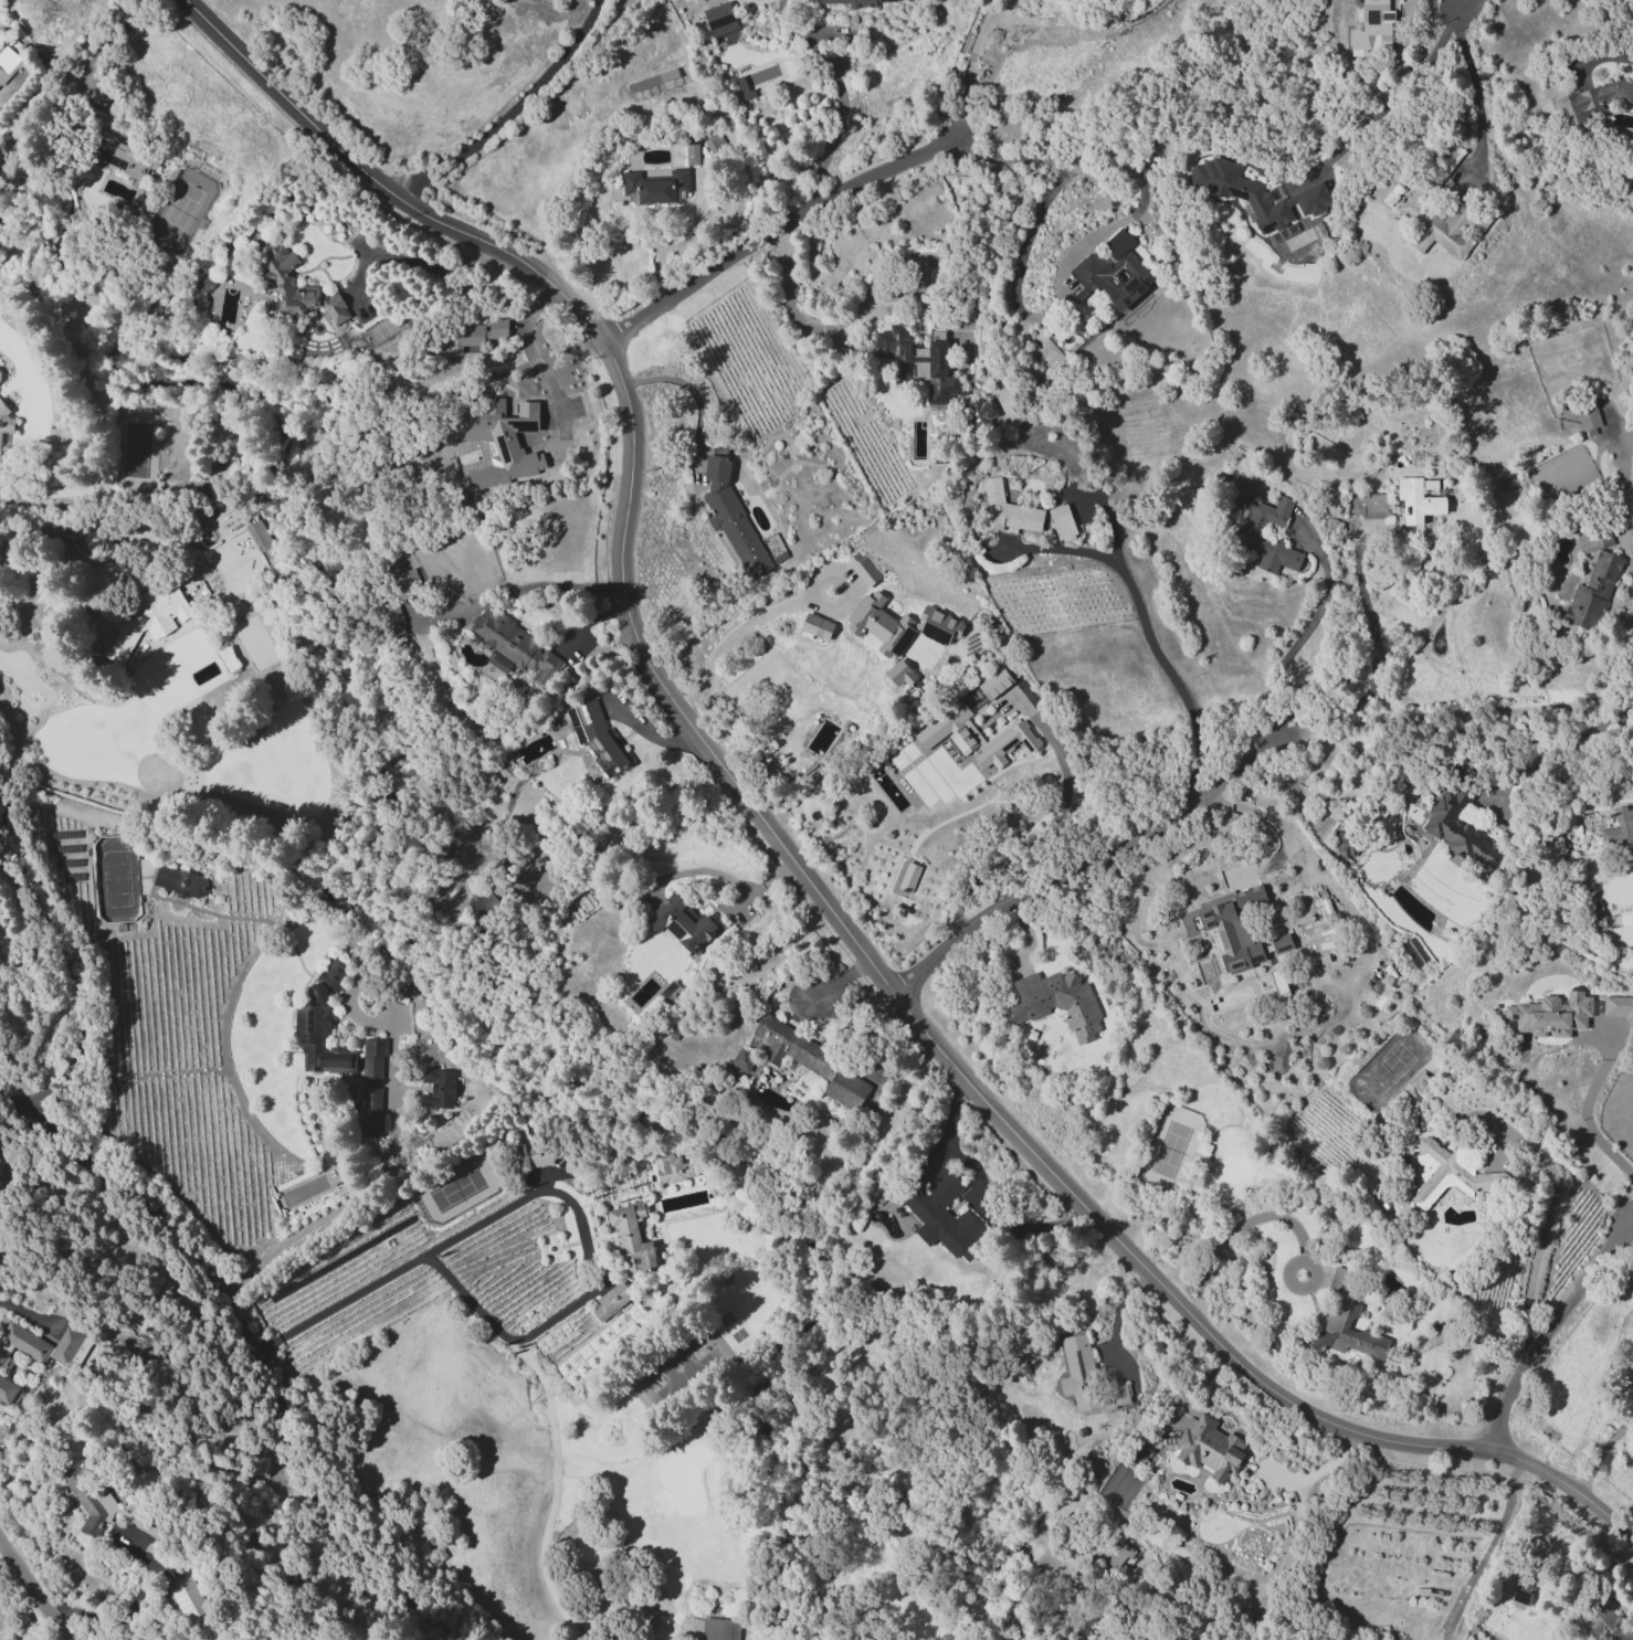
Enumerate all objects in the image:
building: (850, 2)
road: (1464, 4)
building: (724, 20)
building: (1376, 24)
road: (115, 35)
road: (1598, 56)
building: (8, 63)
road: (969, 65)
building: (651, 80)
road: (1394, 87)
building: (742, 88)
road: (1479, 89)
building: (1593, 99)
road: (843, 106)
road: (509, 110)
building: (118, 146)
building: (11, 170)
building: (655, 187)
building: (1255, 193)
building: (1440, 223)
road: (773, 231)
road: (1086, 236)
road: (401, 260)
building: (1112, 273)
building: (285, 286)
road: (853, 321)
building: (476, 334)
building: (919, 361)
road: (537, 379)
road: (694, 393)
building: (979, 412)
building: (1587, 415)
building: (4, 420)
building: (498, 436)
building: (0, 479)
building: (1416, 500)
building: (1372, 506)
road: (1622, 506)
building: (1010, 510)
building: (736, 520)
building: (1065, 523)
building: (1250, 531)
building: (262, 540)
road: (120, 546)
building: (862, 569)
building: (1592, 580)
road: (760, 613)
building: (146, 618)
building: (816, 626)
road: (1306, 629)
building: (899, 632)
road: (1147, 632)
building: (514, 647)
road: (1374, 658)
building: (993, 684)
road: (1456, 709)
building: (594, 733)
building: (974, 736)
road: (1561, 747)
building: (1619, 827)
road: (1043, 833)
building: (1463, 834)
road: (1285, 840)
building: (1345, 844)
road: (791, 858)
road: (1086, 863)
road: (723, 875)
building: (908, 877)
park: (117, 879)
building: (181, 884)
building: (1249, 898)
building: (483, 904)
building: (682, 927)
building: (1228, 939)
building: (1281, 943)
road: (71, 973)
building: (1277, 981)
building: (1056, 1002)
building: (1618, 1007)
building: (320, 1024)
building: (1563, 1024)
building: (372, 1058)
building: (742, 1059)
building: (811, 1061)
building: (1419, 1081)
building: (370, 1109)
road: (1584, 1111)
building: (533, 1155)
building: (670, 1167)
road: (371, 1179)
park: (455, 1191)
road: (982, 1194)
road: (1629, 1215)
building: (944, 1218)
road: (1241, 1224)
building: (632, 1240)
road: (1537, 1245)
road: (428, 1251)
road: (1, 1301)
building: (611, 1301)
road: (1116, 1313)
building: (1346, 1319)
road: (1548, 1331)
road: (250, 1341)
building: (43, 1346)
building: (1087, 1378)
building: (7, 1389)
building: (1208, 1447)
road: (1599, 1453)
building: (108, 1509)
building: (1118, 1555)
road: (34, 1588)
building: (1524, 1589)
building: (187, 1597)
road: (130, 1607)
building: (719, 1629)

